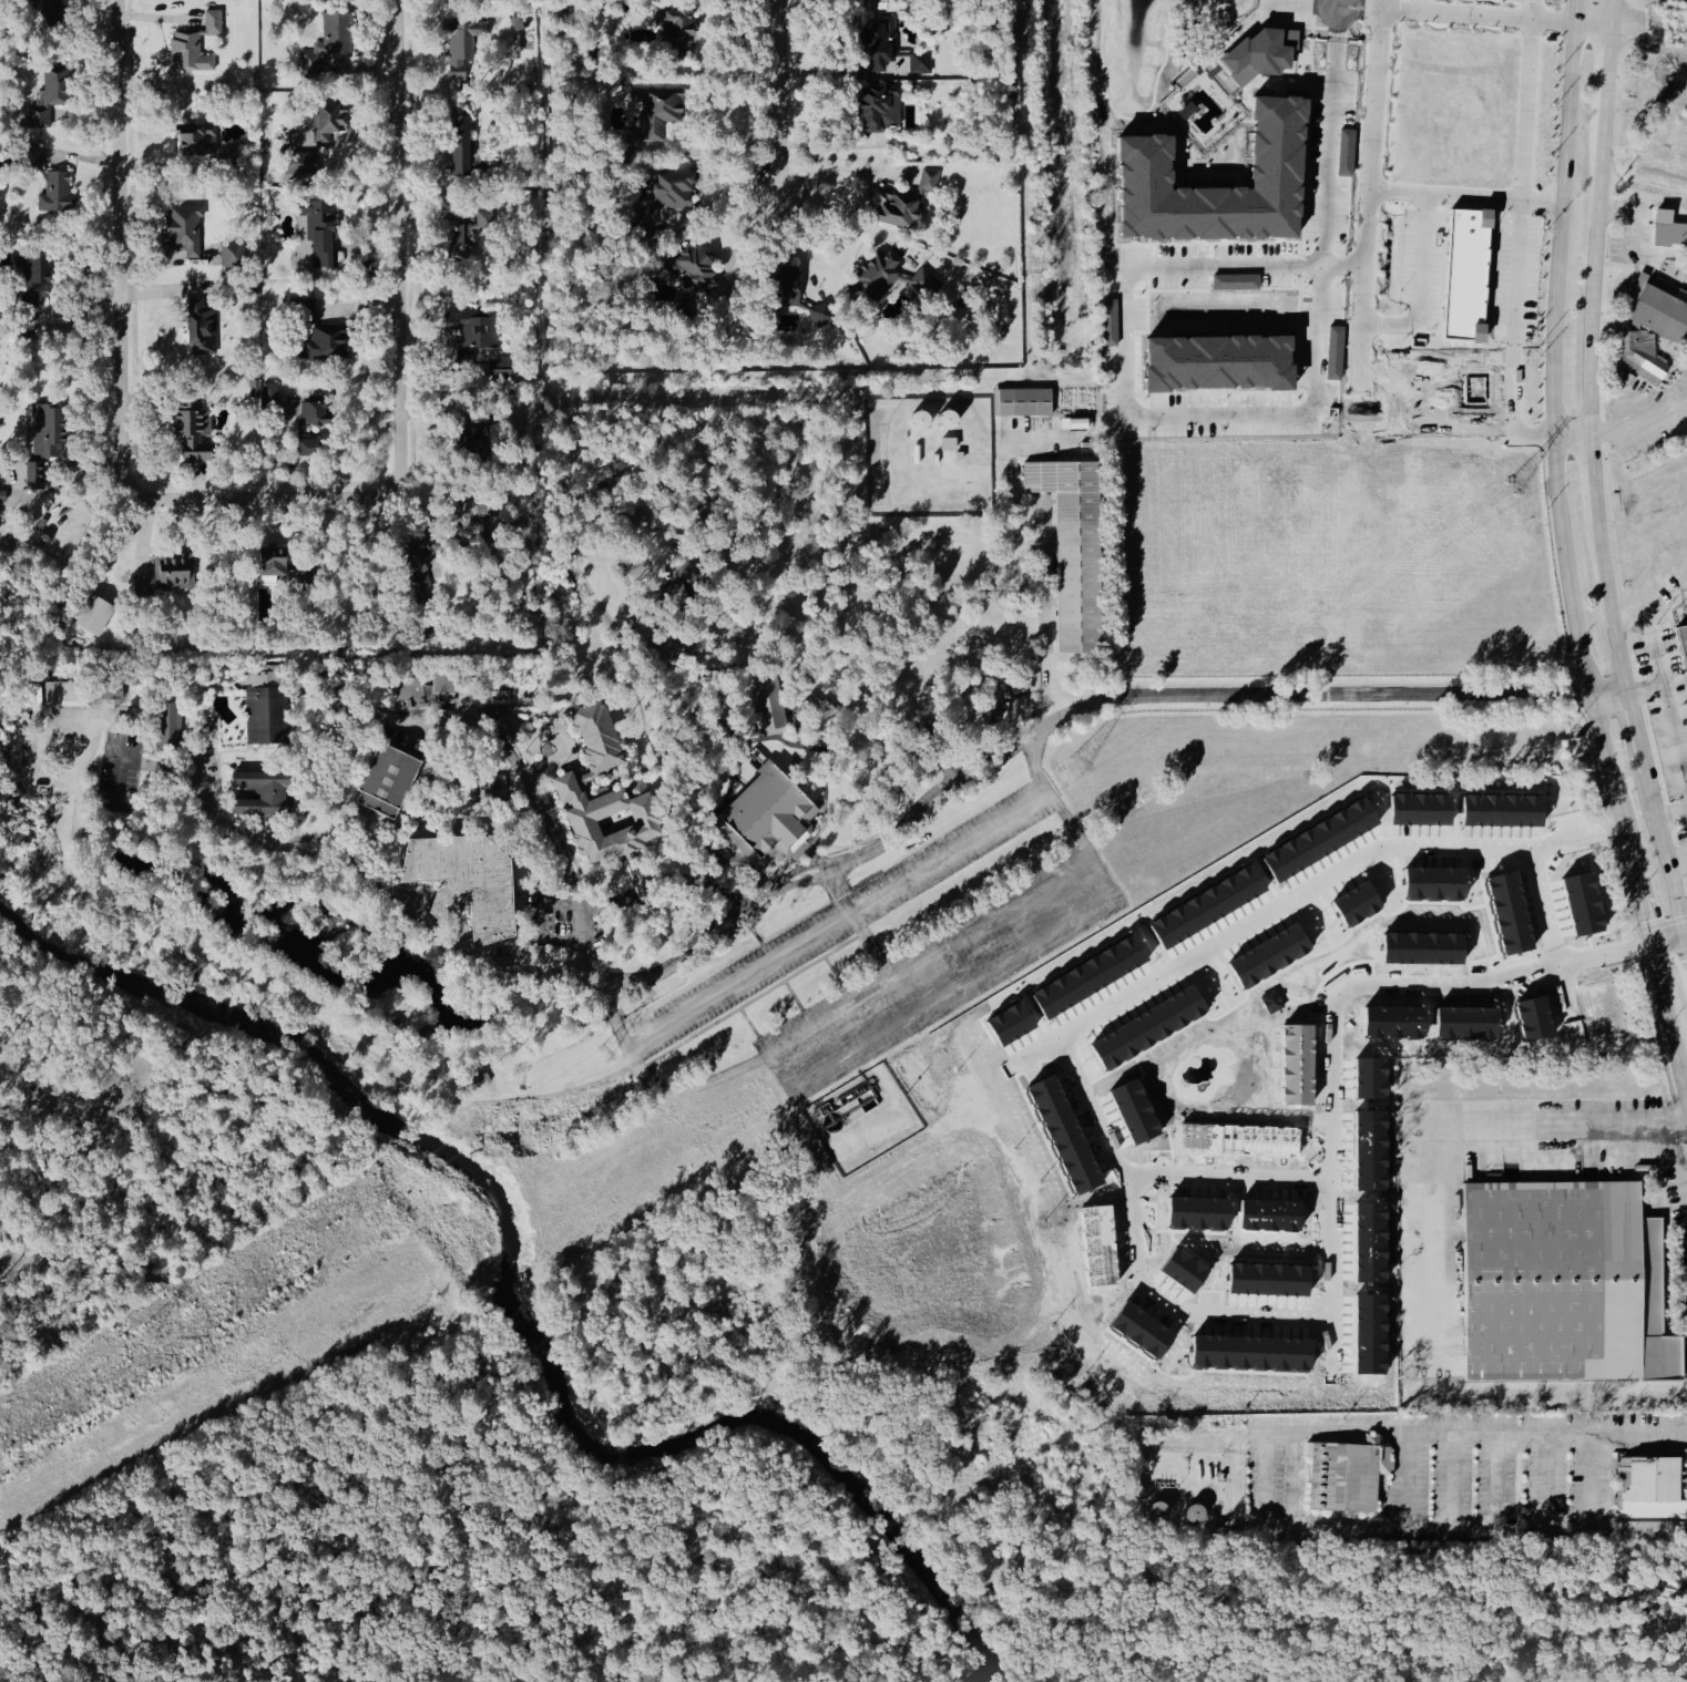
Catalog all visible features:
road: (1382, 4)
road: (1537, 10)
road: (1606, 12)
building: (673, 30)
building: (334, 33)
building: (875, 45)
building: (193, 47)
building: (453, 55)
building: (336, 59)
building: (918, 64)
building: (307, 66)
road: (1604, 69)
building: (52, 89)
road: (776, 94)
building: (877, 109)
building: (1185, 111)
building: (651, 113)
road: (1374, 114)
building: (325, 123)
building: (192, 139)
building: (459, 146)
road: (706, 150)
building: (1345, 153)
building: (30, 157)
building: (297, 165)
road: (1329, 173)
road: (838, 174)
building: (927, 182)
building: (665, 191)
road: (1399, 192)
building: (53, 194)
road: (722, 197)
building: (1156, 197)
building: (894, 208)
road: (827, 212)
road: (1523, 213)
road: (1425, 222)
building: (463, 233)
building: (182, 234)
building: (313, 235)
building: (1678, 235)
building: (229, 256)
road: (1343, 267)
building: (691, 270)
road: (1592, 275)
building: (1465, 276)
building: (873, 279)
building: (1234, 281)
building: (923, 284)
building: (29, 285)
building: (780, 287)
road: (119, 304)
road: (368, 305)
building: (1656, 310)
road: (401, 321)
building: (812, 321)
building: (470, 330)
building: (200, 331)
building: (323, 343)
road: (1550, 347)
building: (1333, 352)
building: (1637, 363)
building: (254, 390)
building: (267, 394)
building: (1020, 402)
road: (1131, 404)
building: (309, 412)
building: (1075, 422)
road: (1640, 423)
road: (880, 428)
building: (190, 432)
road: (1026, 438)
road: (1571, 440)
building: (41, 444)
building: (945, 445)
building: (307, 448)
road: (666, 464)
road: (726, 469)
road: (1593, 481)
power tower: (1512, 492)
building: (695, 512)
building: (627, 525)
road: (575, 539)
building: (1072, 547)
road: (708, 555)
road: (745, 556)
road: (648, 564)
road: (675, 566)
building: (634, 571)
building: (166, 572)
building: (273, 572)
building: (671, 595)
road: (592, 599)
road: (648, 603)
road: (1608, 607)
road: (709, 613)
building: (93, 614)
road: (661, 614)
road: (876, 630)
road: (656, 633)
building: (667, 646)
building: (1681, 646)
road: (897, 648)
road: (1051, 653)
road: (1061, 653)
road: (1055, 656)
road: (1066, 656)
road: (1061, 659)
road: (1052, 660)
road: (757, 667)
water tower: (891, 673)
water tower: (911, 680)
road: (474, 683)
road: (702, 685)
road: (1657, 687)
building: (105, 690)
building: (421, 691)
road: (1026, 693)
building: (64, 694)
road: (554, 695)
road: (1342, 695)
building: (498, 696)
building: (335, 698)
building: (765, 702)
building: (266, 706)
road: (334, 706)
road: (101, 707)
road: (479, 707)
road: (572, 707)
building: (990, 707)
road: (334, 708)
road: (330, 709)
road: (1669, 710)
road: (380, 712)
road: (790, 712)
building: (817, 712)
road: (330, 718)
building: (167, 727)
road: (797, 728)
road: (1636, 728)
road: (359, 730)
parking lot: (405, 731)
building: (521, 734)
building: (596, 738)
road: (512, 742)
road: (931, 745)
road: (565, 750)
road: (550, 752)
road: (150, 753)
fountain: (797, 761)
parking lot: (209, 763)
road: (1608, 765)
road: (195, 766)
power tower: (1077, 767)
road: (663, 769)
road: (672, 769)
parking lot: (119, 772)
road: (173, 772)
road: (963, 776)
road: (585, 778)
road: (622, 778)
road: (296, 779)
building: (386, 780)
road: (119, 781)
building: (31, 784)
road: (411, 786)
road: (241, 787)
building: (493, 787)
road: (236, 790)
road: (530, 790)
building: (262, 792)
road: (238, 793)
road: (321, 796)
road: (219, 801)
road: (819, 804)
fountain: (427, 809)
road: (487, 809)
road: (361, 814)
road: (489, 816)
road: (384, 818)
building: (609, 818)
building: (766, 818)
road: (822, 823)
road: (413, 825)
road: (405, 830)
road: (492, 830)
road: (358, 837)
road: (510, 839)
road: (279, 844)
road: (805, 849)
road: (350, 850)
road: (796, 852)
parking lot: (950, 852)
road: (1666, 852)
road: (808, 854)
road: (734, 859)
road: (580, 860)
road: (1678, 860)
road: (824, 863)
road: (632, 870)
road: (829, 875)
road: (663, 879)
road: (645, 880)
building: (463, 882)
building: (1433, 883)
road: (633, 886)
road: (857, 886)
road: (1638, 892)
road: (728, 899)
road: (297, 900)
road: (1119, 902)
road: (233, 903)
road: (450, 903)
road: (546, 903)
building: (1581, 904)
building: (1507, 913)
road: (1544, 913)
road: (249, 917)
road: (677, 917)
parking lot: (548, 919)
road: (524, 923)
road: (858, 923)
road: (146, 925)
road: (360, 925)
road: (544, 935)
traffic signals: (1686, 936)
road: (757, 937)
road: (1668, 940)
road: (252, 942)
traffic signals: (1650, 944)
road: (467, 948)
road: (1060, 955)
parking lot: (511, 956)
road: (532, 963)
road: (985, 966)
parking lot: (941, 971)
road: (835, 972)
road: (781, 976)
parking lot: (739, 981)
road: (587, 986)
road: (524, 991)
road: (749, 1002)
building: (1271, 1003)
road: (504, 1004)
road: (347, 1014)
road: (828, 1019)
road: (1667, 1021)
road: (749, 1023)
building: (392, 1024)
building: (1146, 1028)
power tower: (602, 1056)
road: (992, 1136)
road: (1465, 1149)
road: (1113, 1155)
road: (1025, 1206)
road: (923, 1259)
building: (1562, 1285)
river: (511, 1307)
road: (1250, 1321)
power tower: (145, 1336)
road: (1414, 1430)
road: (1184, 1475)
building: (1345, 1476)
building: (1647, 1490)
park: (413, 1512)
park: (1382, 1609)

